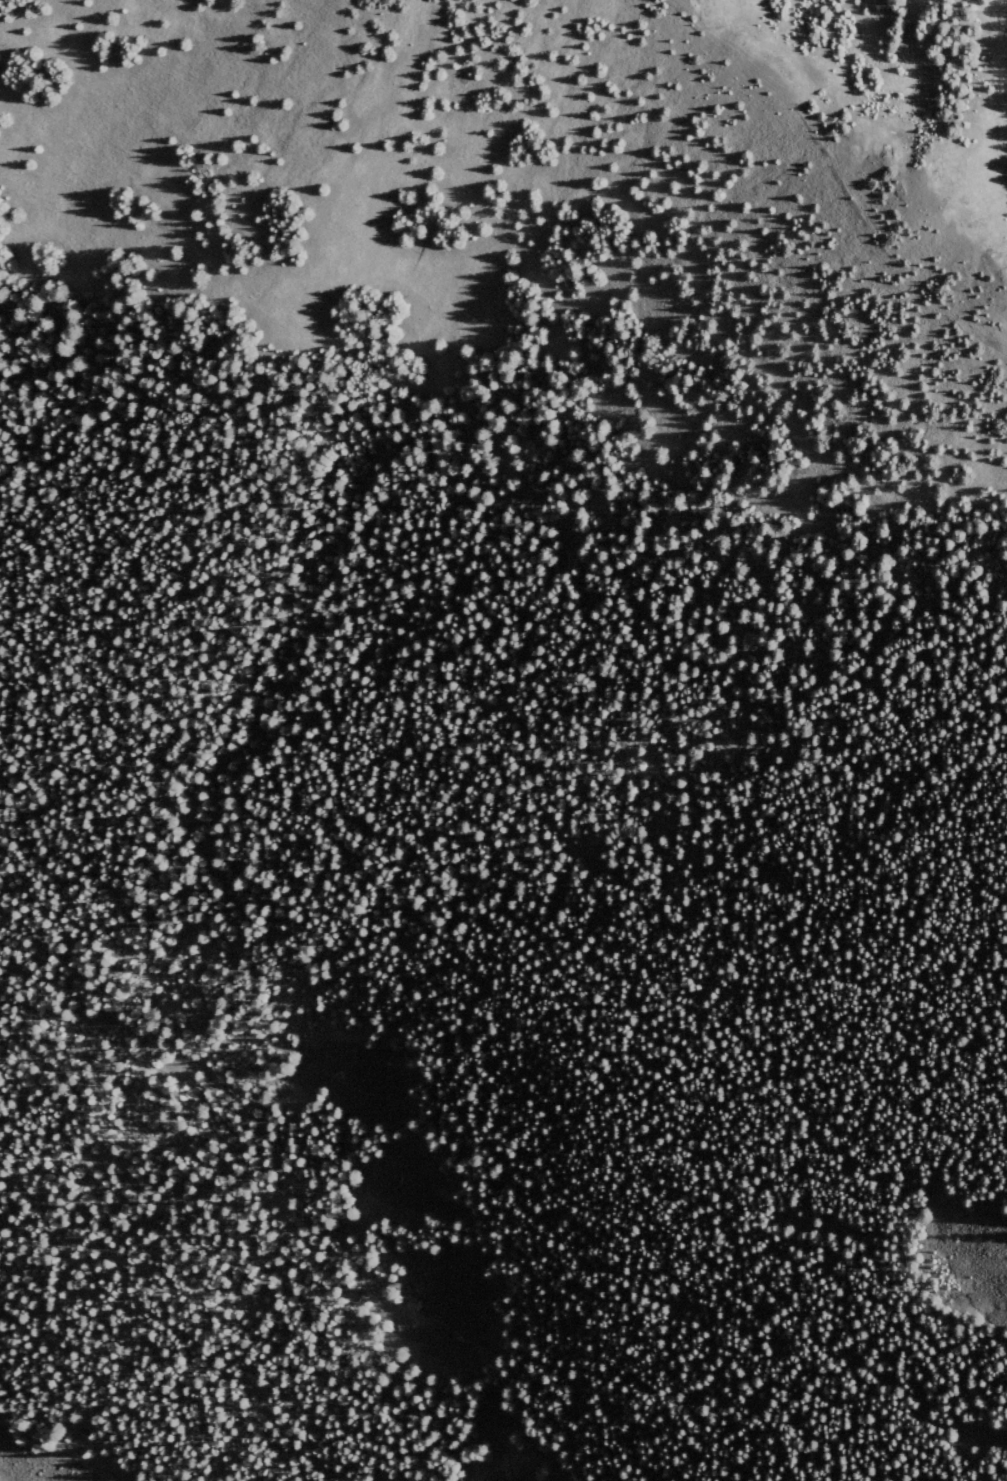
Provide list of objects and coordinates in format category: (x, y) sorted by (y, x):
ski resort: (907, 81)

